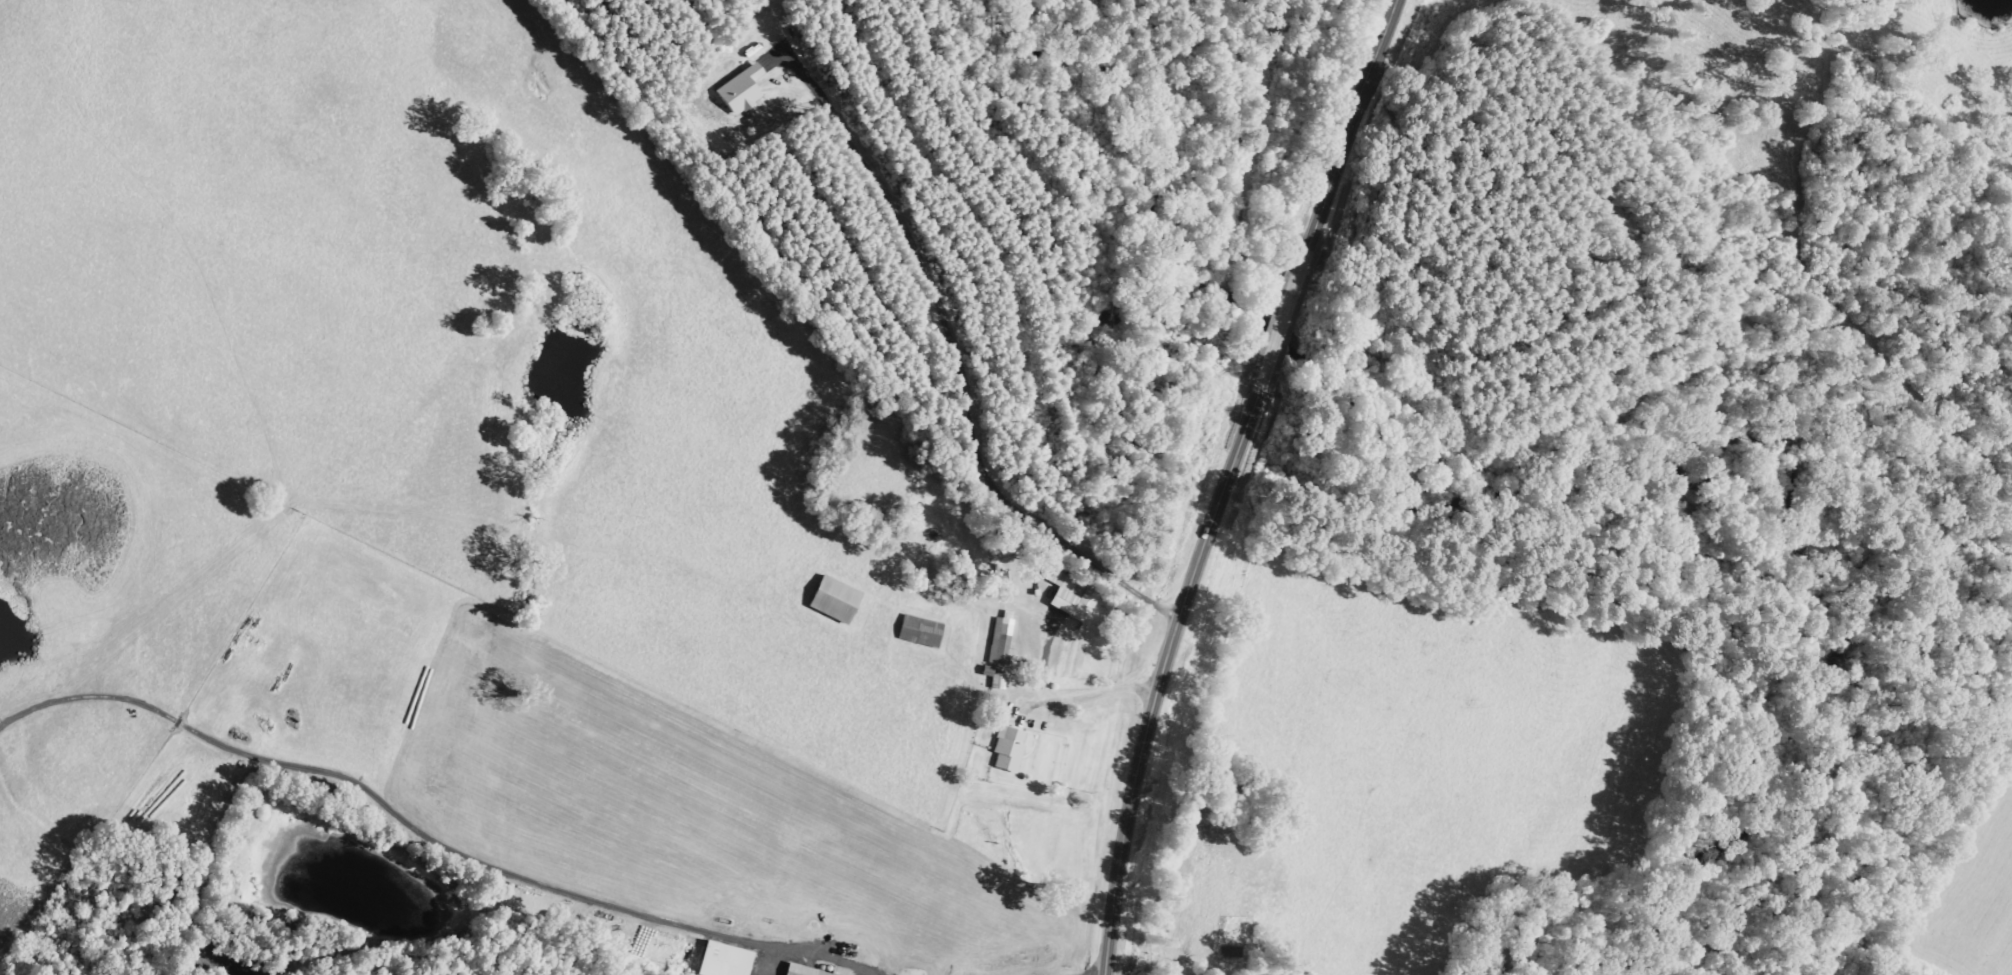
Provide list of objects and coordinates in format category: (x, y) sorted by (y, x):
road: (1949, 56)
road: (1228, 479)
building: (1073, 597)
building: (837, 601)
building: (922, 632)
building: (1002, 640)
building: (1010, 750)
building: (726, 960)
building: (804, 970)

